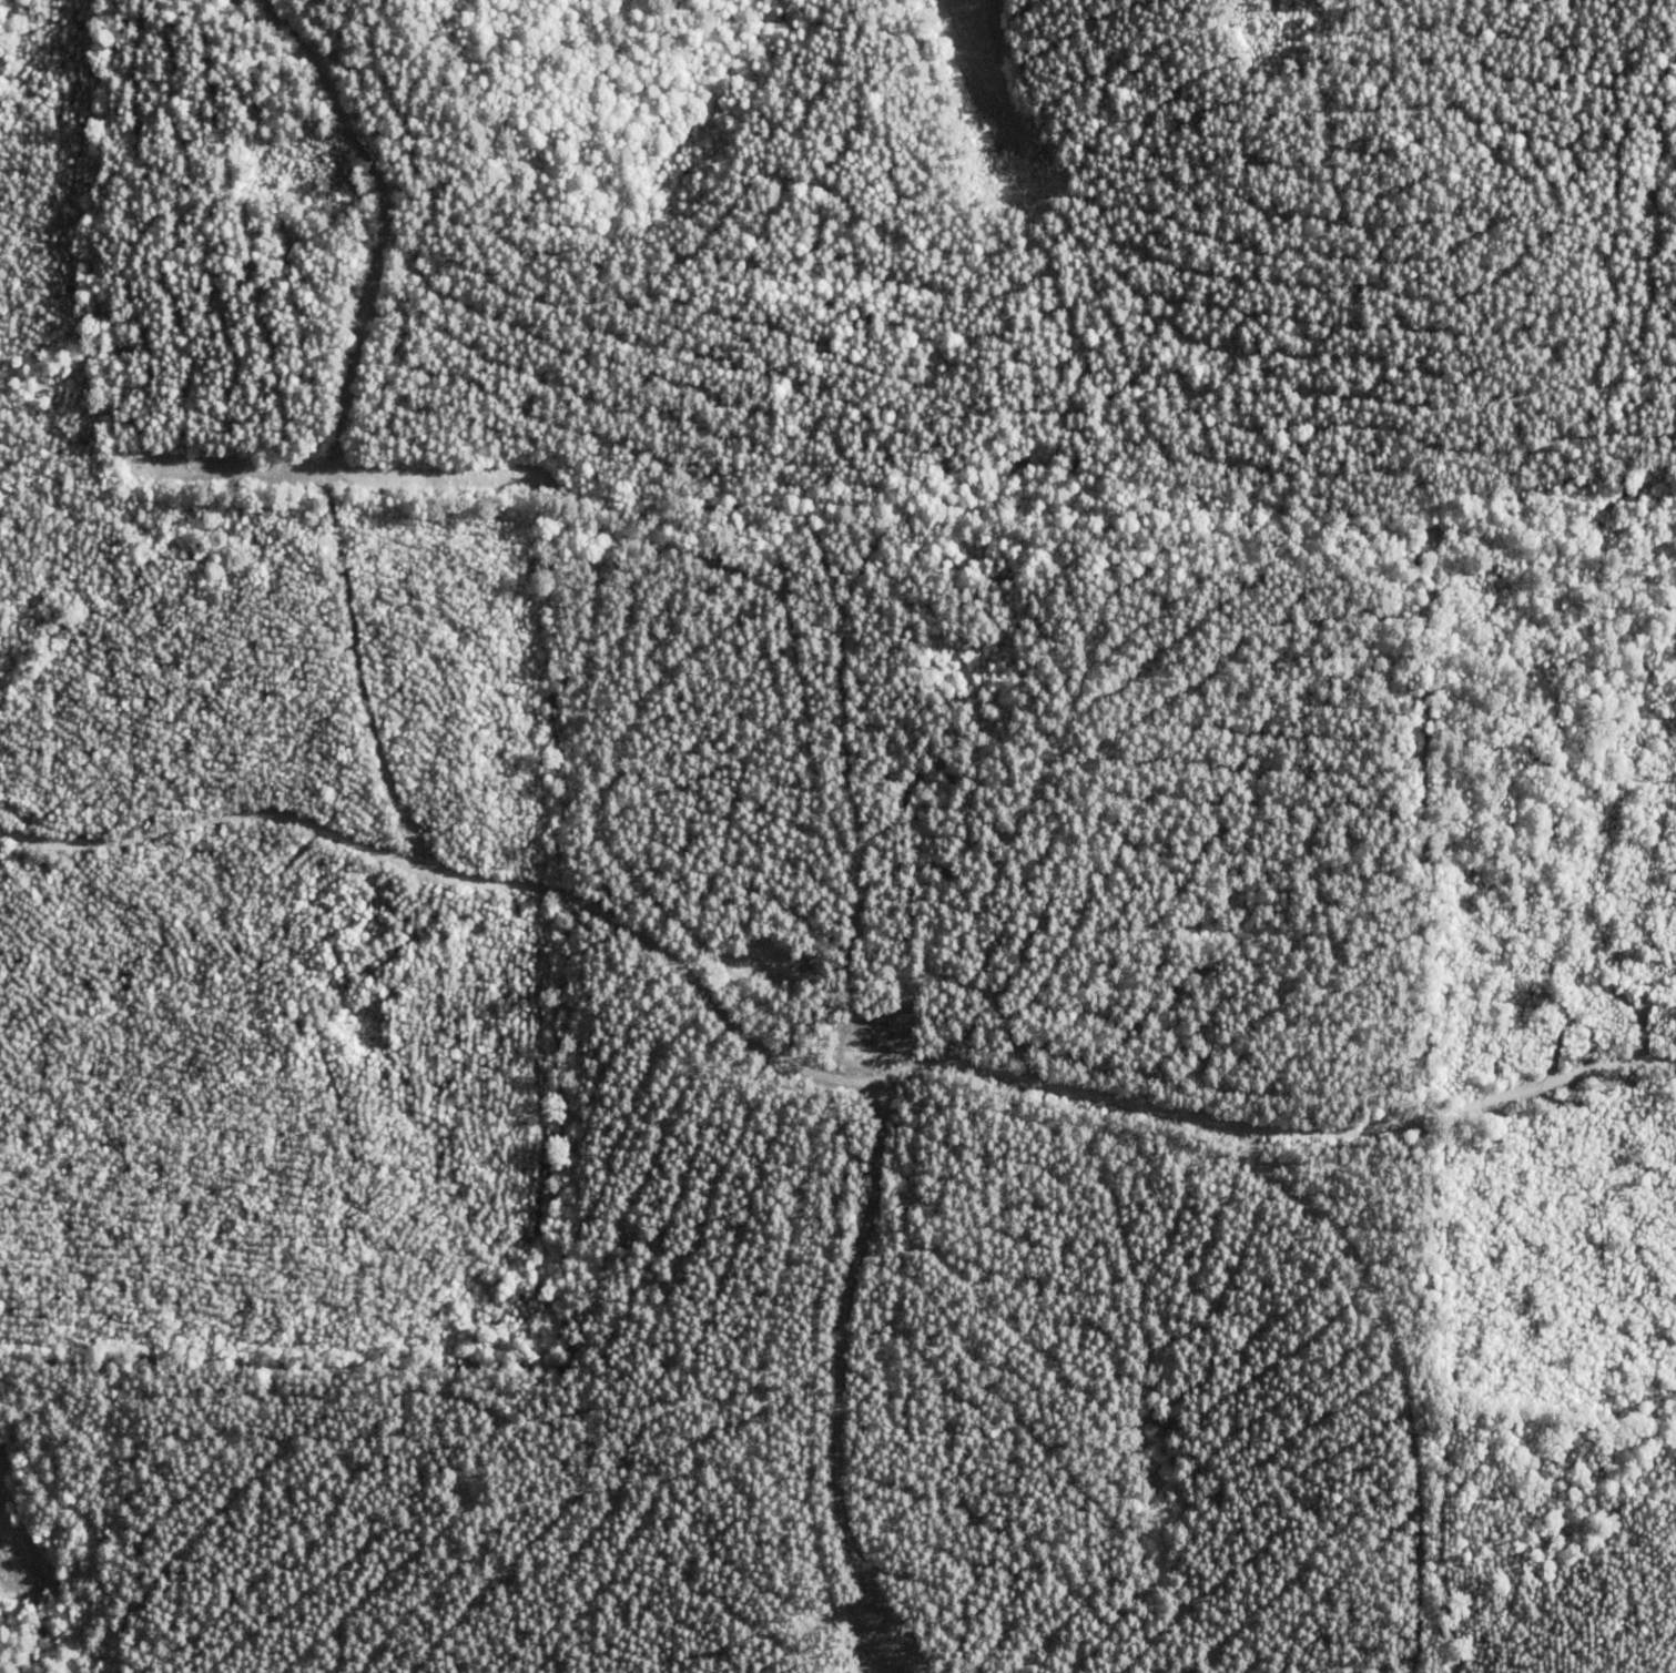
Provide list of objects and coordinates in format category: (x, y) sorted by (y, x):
road: (1611, 1087)

